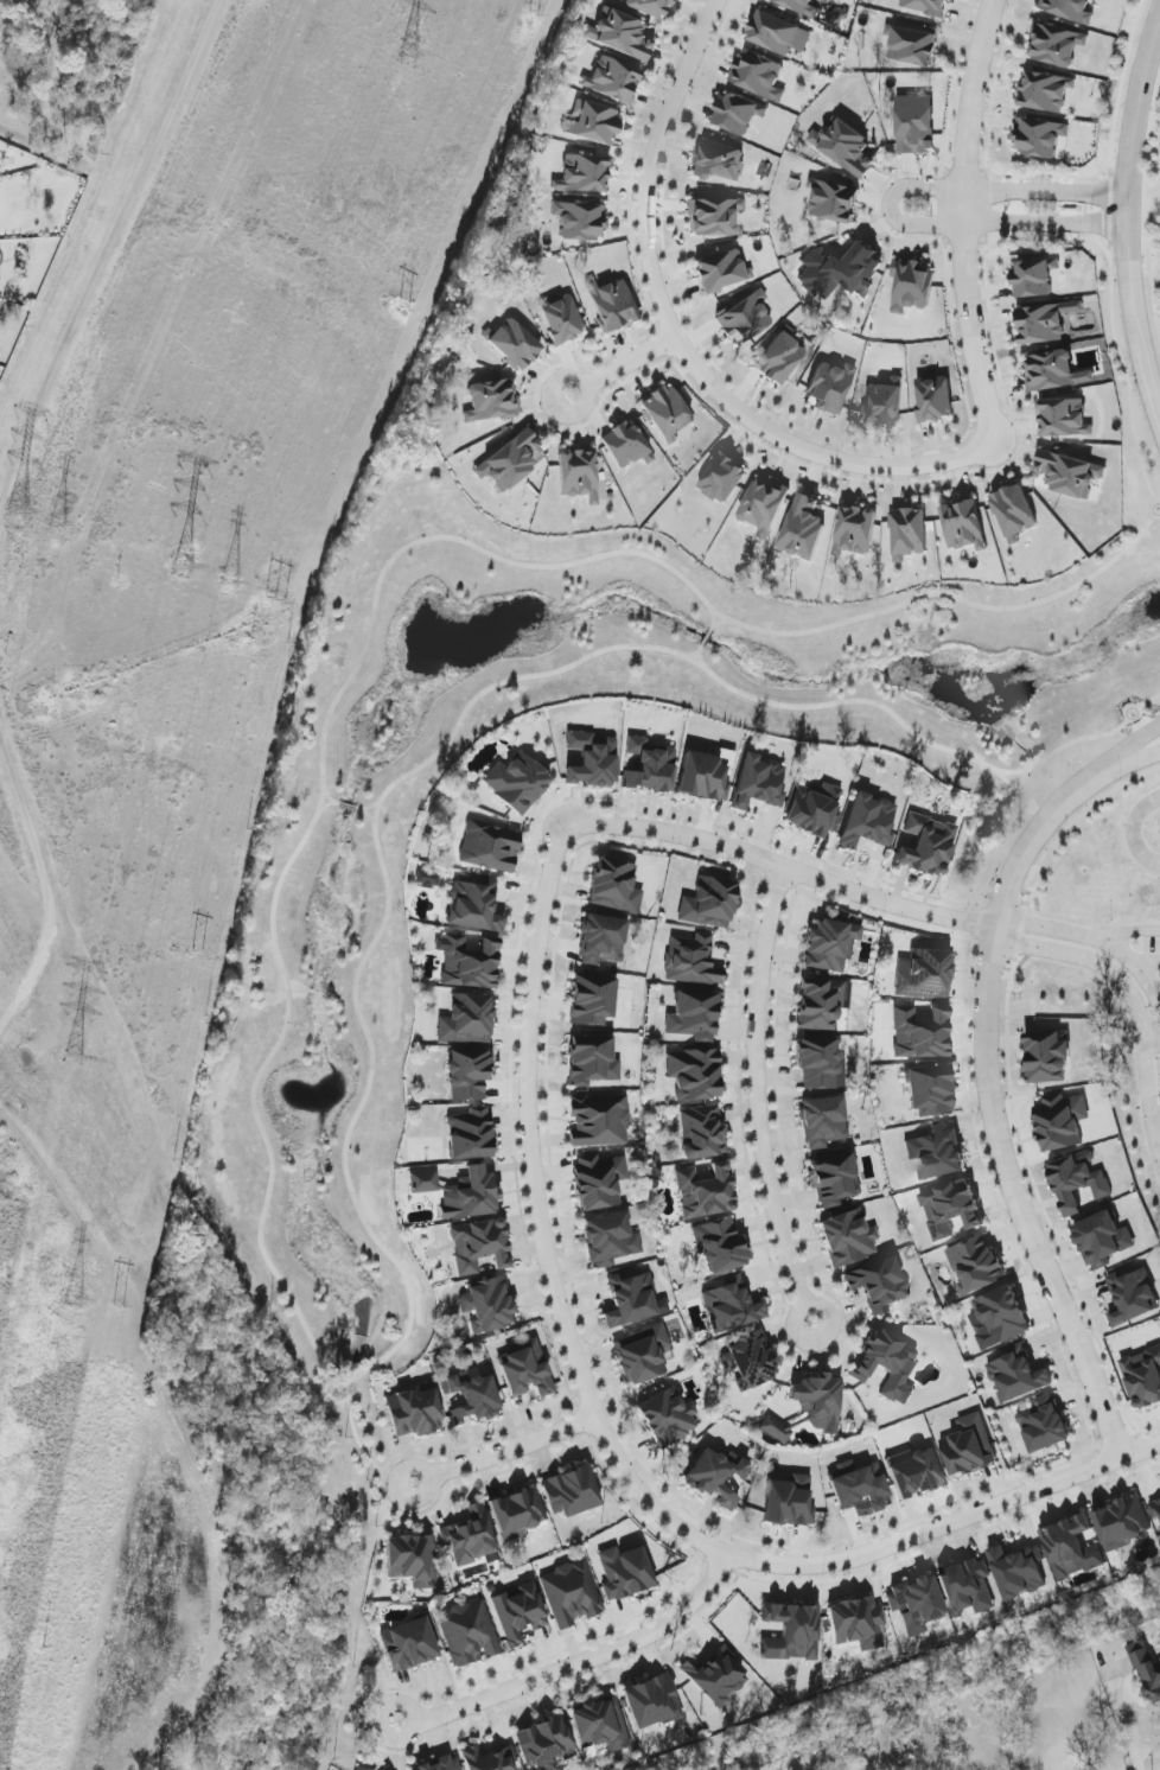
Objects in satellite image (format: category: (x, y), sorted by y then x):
building: (799, 6)
building: (925, 6)
road: (1159, 6)
building: (1069, 9)
power tower: (533, 18)
building: (778, 33)
building: (618, 34)
building: (1056, 45)
building: (912, 46)
power tower: (406, 58)
building: (758, 76)
building: (612, 79)
building: (1045, 91)
road: (1114, 110)
building: (738, 113)
building: (592, 123)
building: (914, 125)
road: (1130, 130)
building: (1038, 138)
building: (844, 147)
building: (719, 161)
building: (582, 174)
building: (833, 200)
road: (893, 206)
power tower: (103, 212)
road: (1151, 214)
building: (713, 216)
building: (580, 219)
road: (962, 223)
road: (104, 240)
road: (106, 252)
building: (721, 270)
building: (840, 272)
building: (1033, 278)
building: (912, 285)
building: (611, 304)
power tower: (403, 312)
building: (745, 318)
building: (561, 319)
building: (1041, 324)
road: (681, 337)
road: (1140, 339)
building: (514, 344)
building: (779, 358)
road: (1123, 364)
road: (623, 365)
building: (1053, 371)
building: (829, 387)
building: (935, 397)
building: (491, 401)
building: (882, 402)
building: (667, 414)
building: (1064, 418)
building: (625, 445)
road: (63, 459)
building: (511, 460)
building: (1069, 473)
building: (578, 475)
building: (722, 478)
building: (764, 505)
road: (1151, 509)
building: (1014, 512)
power tower: (15, 515)
building: (963, 526)
building: (803, 528)
power tower: (51, 530)
building: (855, 530)
building: (909, 534)
power tower: (180, 573)
power tower: (229, 579)
power tower: (275, 603)
road: (716, 625)
road: (714, 629)
road: (708, 638)
road: (703, 649)
road: (702, 651)
road: (1148, 701)
road: (1141, 717)
road: (1135, 745)
road: (1135, 758)
building: (592, 760)
building: (650, 766)
building: (516, 782)
building: (758, 783)
road: (1013, 783)
road: (1024, 796)
road: (334, 802)
road: (338, 803)
road: (350, 807)
road: (361, 809)
building: (814, 809)
road: (363, 810)
building: (867, 822)
road: (1075, 824)
road: (1123, 829)
road: (1133, 830)
building: (926, 846)
building: (490, 847)
road: (784, 868)
road: (754, 873)
building: (427, 879)
road: (45, 886)
building: (614, 886)
road: (32, 892)
building: (709, 904)
building: (474, 906)
road: (1024, 910)
building: (601, 940)
building: (830, 946)
road: (1123, 950)
road: (1064, 953)
power tower: (197, 955)
building: (691, 961)
building: (467, 962)
road: (1149, 962)
building: (925, 975)
road: (1149, 979)
street lamp: (987, 987)
building: (592, 1000)
building: (820, 1004)
building: (694, 1015)
building: (467, 1020)
building: (920, 1033)
road: (1153, 1048)
power tower: (72, 1058)
building: (1047, 1058)
building: (592, 1061)
building: (820, 1063)
building: (694, 1074)
building: (469, 1075)
building: (930, 1091)
road: (757, 1100)
road: (992, 1103)
road: (1155, 1115)
building: (599, 1120)
building: (822, 1121)
building: (1060, 1121)
building: (701, 1132)
building: (471, 1134)
building: (937, 1153)
building: (834, 1179)
building: (423, 1180)
building: (598, 1180)
building: (1077, 1182)
building: (705, 1191)
building: (470, 1195)
building: (950, 1209)
road: (263, 1235)
building: (848, 1239)
building: (608, 1240)
building: (1102, 1240)
building: (479, 1246)
building: (719, 1246)
building: (975, 1265)
building: (878, 1284)
building: (1132, 1297)
power tower: (72, 1298)
building: (630, 1299)
building: (487, 1305)
building: (732, 1306)
street lamp: (1066, 1309)
power tower: (120, 1310)
building: (1000, 1316)
building: (642, 1354)
building: (750, 1360)
building: (887, 1364)
building: (524, 1369)
building: (1018, 1375)
building: (1145, 1379)
road: (349, 1394)
building: (472, 1397)
building: (818, 1402)
building: (414, 1413)
building: (668, 1416)
street lamp: (1109, 1418)
building: (1044, 1425)
building: (776, 1428)
road: (607, 1435)
building: (968, 1447)
road: (506, 1449)
road: (365, 1451)
building: (916, 1471)
building: (716, 1477)
building: (859, 1488)
building: (571, 1491)
building: (789, 1502)
building: (1155, 1511)
building: (518, 1513)
building: (1122, 1523)
building: (470, 1536)
building: (1070, 1548)
building: (413, 1560)
building: (1018, 1571)
building: (624, 1572)
building: (967, 1587)
building: (571, 1593)
building: (916, 1604)
building: (518, 1612)
building: (856, 1623)
building: (791, 1632)
building: (469, 1634)
building: (408, 1644)
power tower: (43, 1651)
road: (579, 1661)
building: (1146, 1669)
building: (715, 1676)
building: (651, 1702)
road: (1122, 1721)
building: (600, 1725)
building: (544, 1743)
building: (489, 1758)
building: (441, 1764)
building: (358, 1768)

